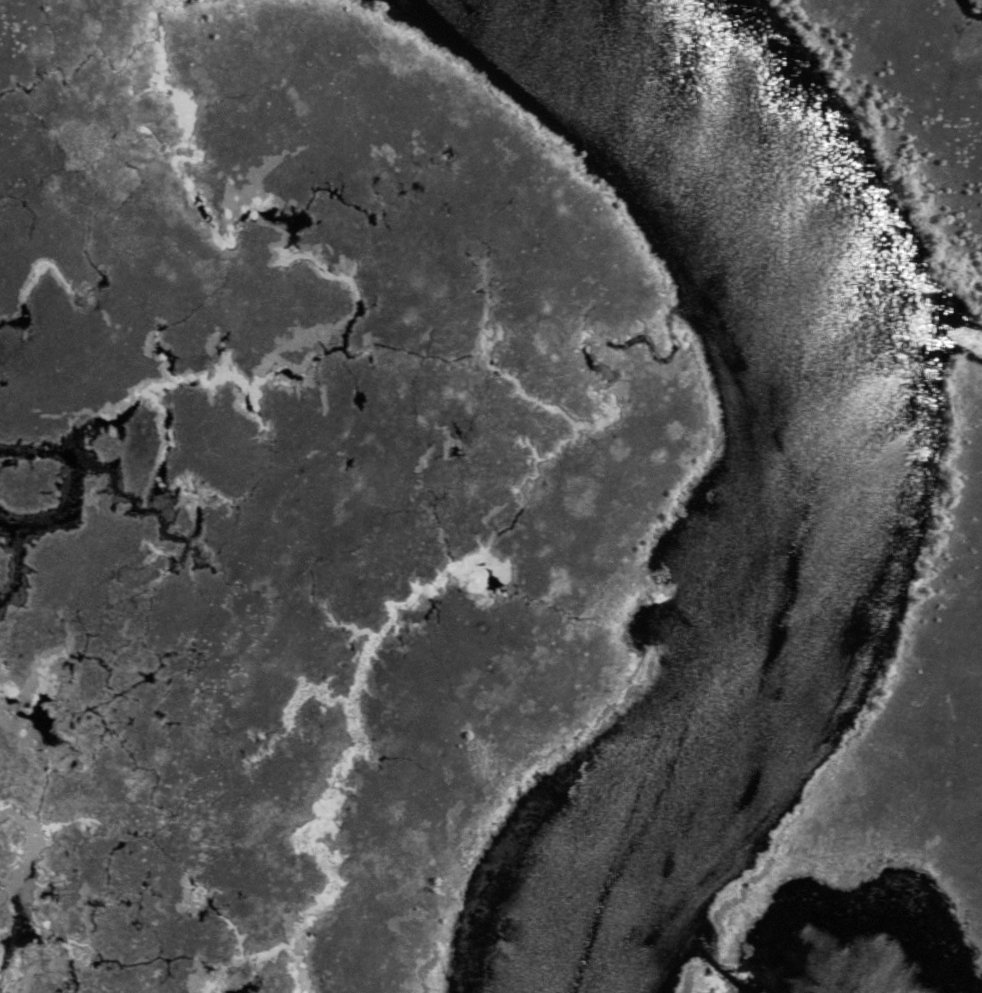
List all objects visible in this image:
river: (818, 482)
river: (75, 485)

